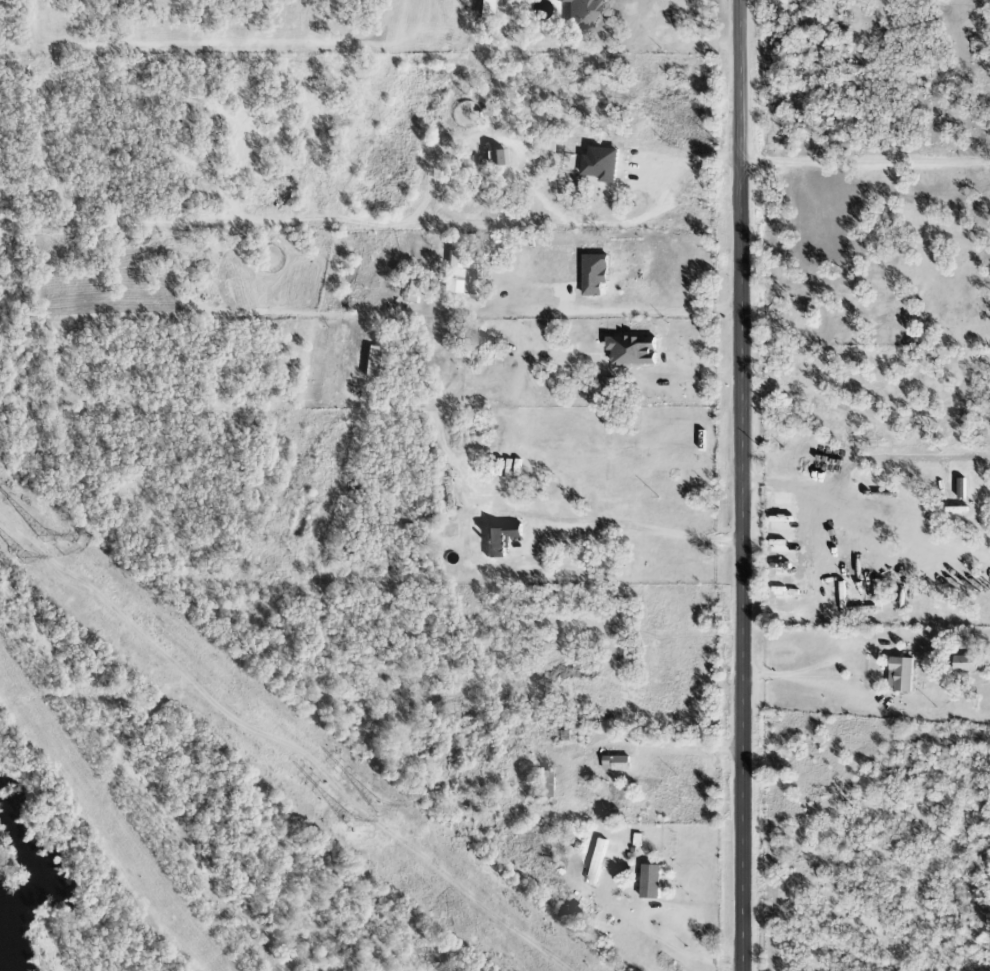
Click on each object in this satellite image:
building: (579, 13)
building: (493, 157)
building: (597, 164)
road: (686, 164)
road: (865, 166)
building: (452, 273)
building: (591, 274)
building: (408, 291)
road: (625, 315)
building: (480, 343)
building: (631, 350)
road: (860, 463)
road: (740, 485)
road: (886, 521)
road: (638, 527)
road: (811, 529)
power tower: (51, 536)
building: (495, 540)
power tower: (33, 558)
building: (963, 663)
road: (803, 668)
building: (898, 674)
road: (675, 746)
building: (614, 763)
power tower: (383, 806)
power tower: (360, 824)
building: (595, 862)
building: (647, 882)
road: (646, 927)

